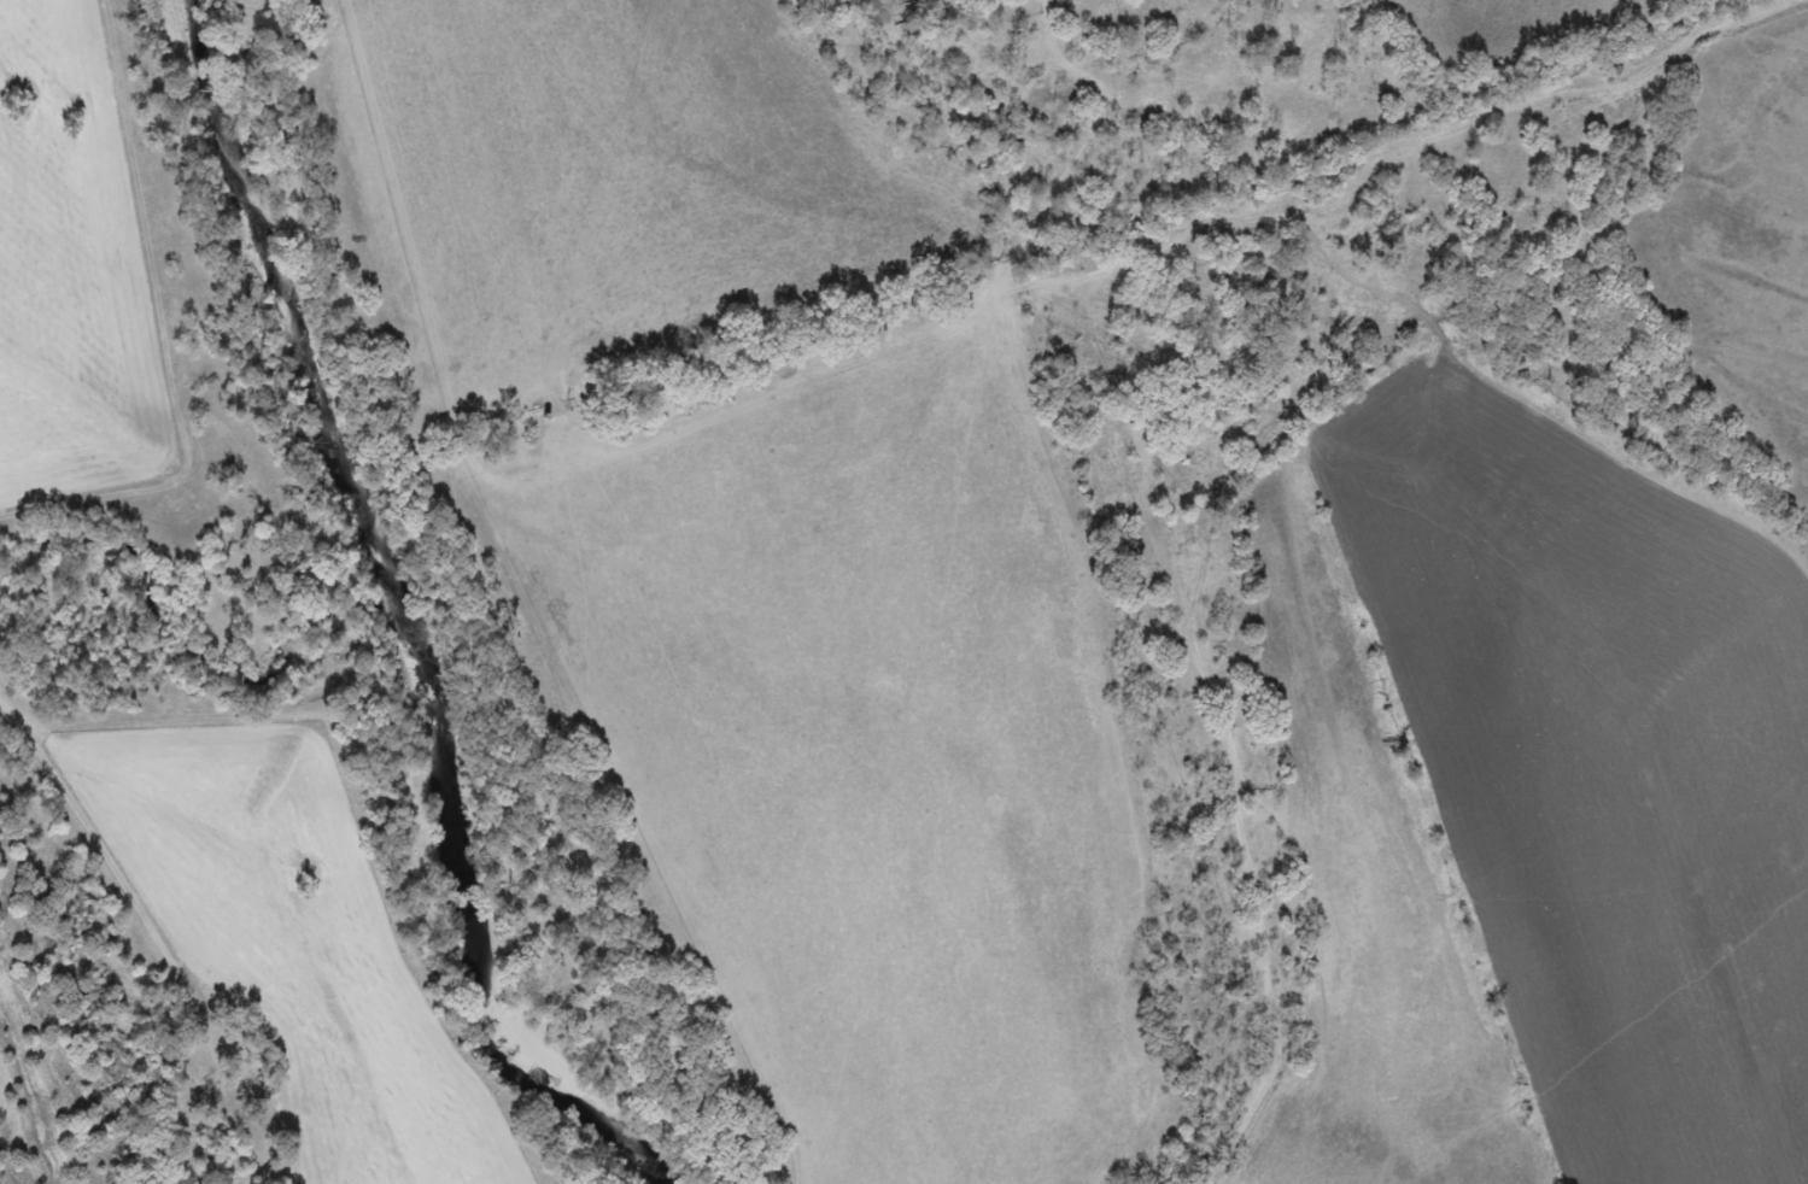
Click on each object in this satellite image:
road: (1223, 4)

